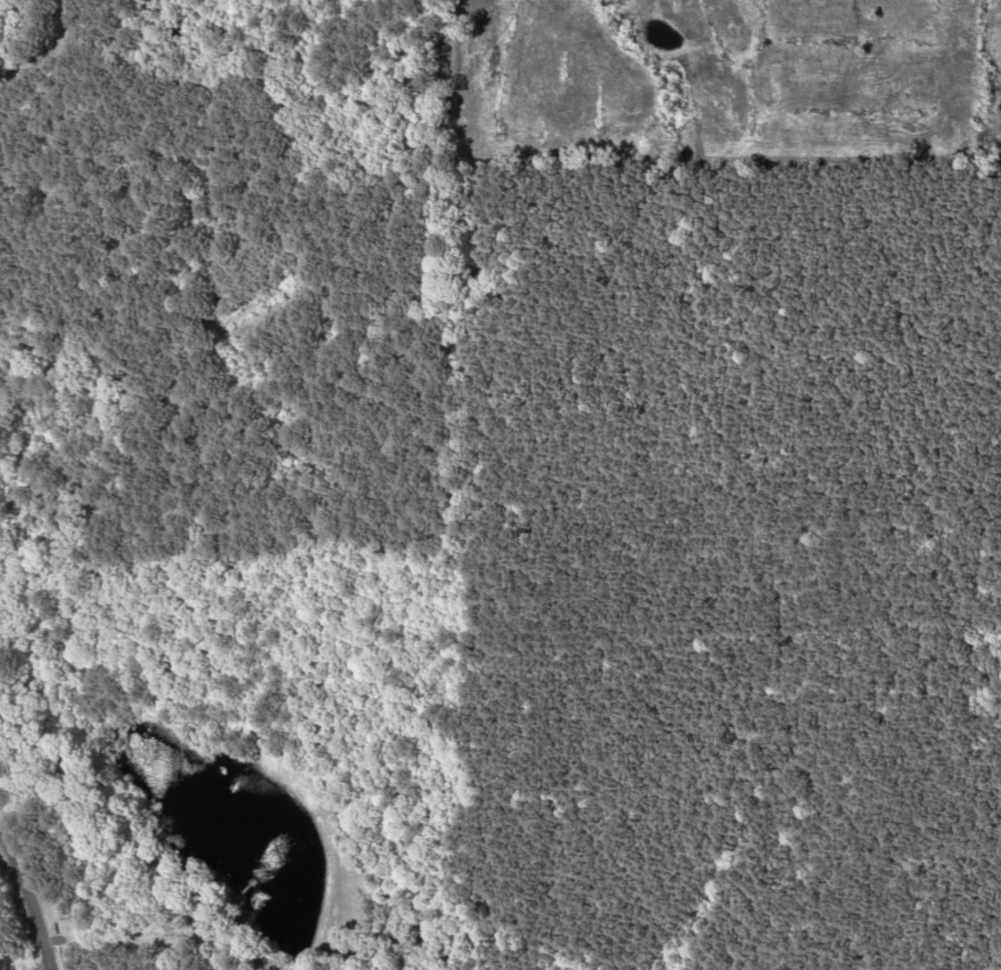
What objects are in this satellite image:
road: (23, 898)
building: (221, 932)

